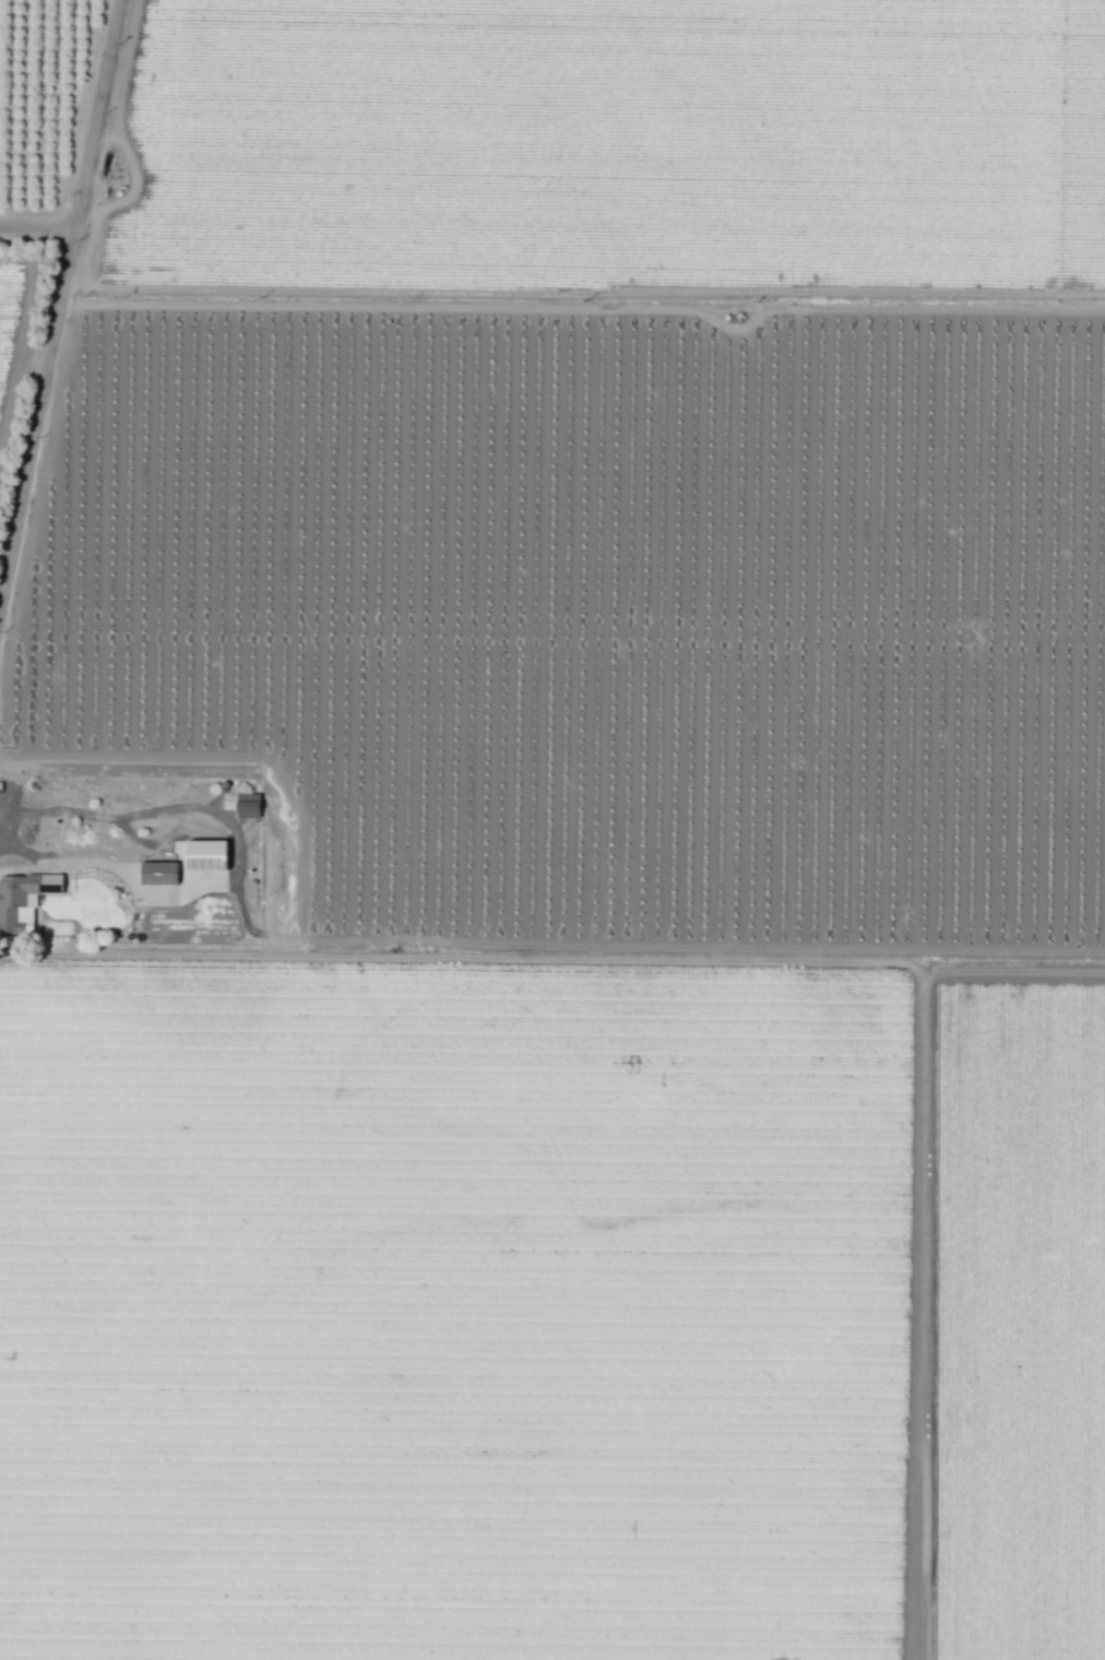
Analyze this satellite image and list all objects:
road: (38, 239)
road: (60, 334)
road: (240, 856)
building: (17, 901)

